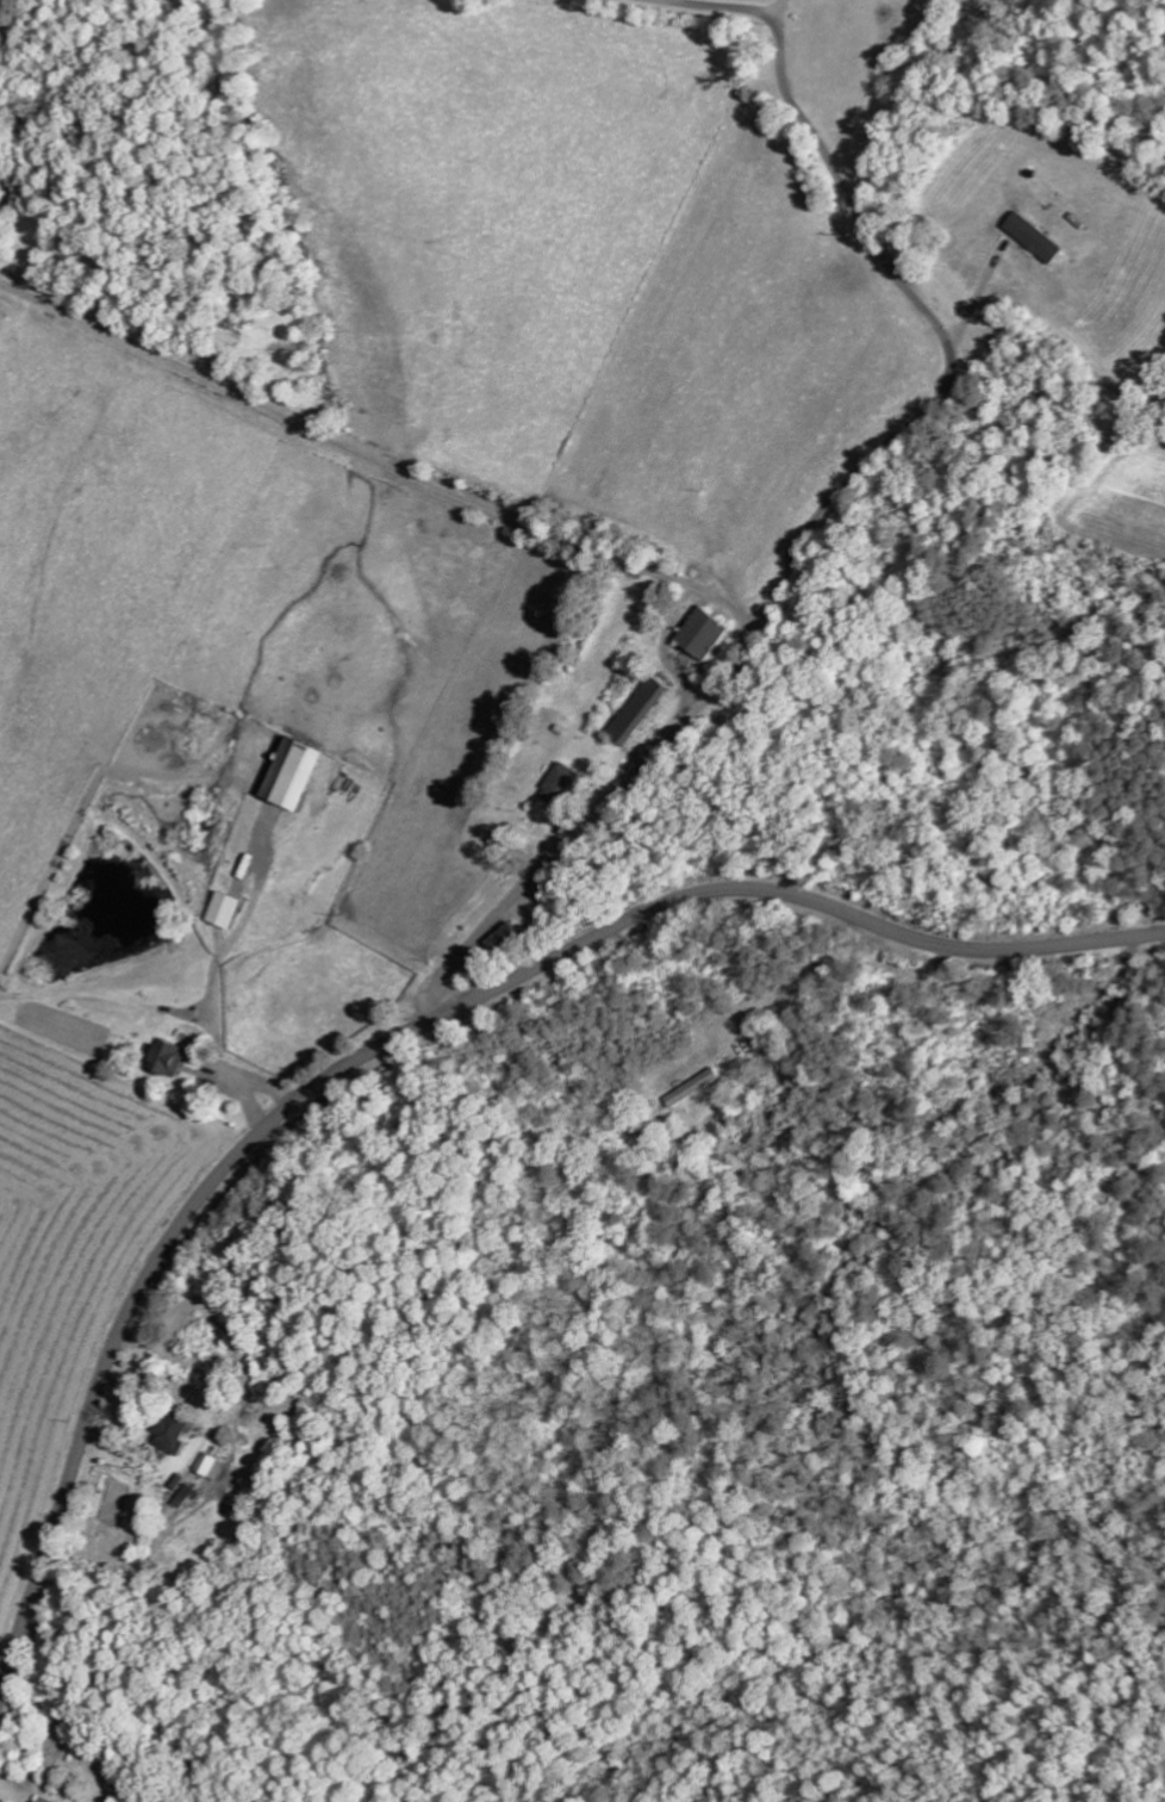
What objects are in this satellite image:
building: (1042, 237)
road: (635, 560)
building: (709, 632)
building: (643, 709)
building: (304, 772)
building: (569, 785)
road: (582, 816)
building: (231, 909)
road: (404, 1037)
building: (173, 1057)
building: (694, 1087)
building: (179, 1431)
building: (213, 1466)
building: (188, 1495)
building: (49, 1800)

